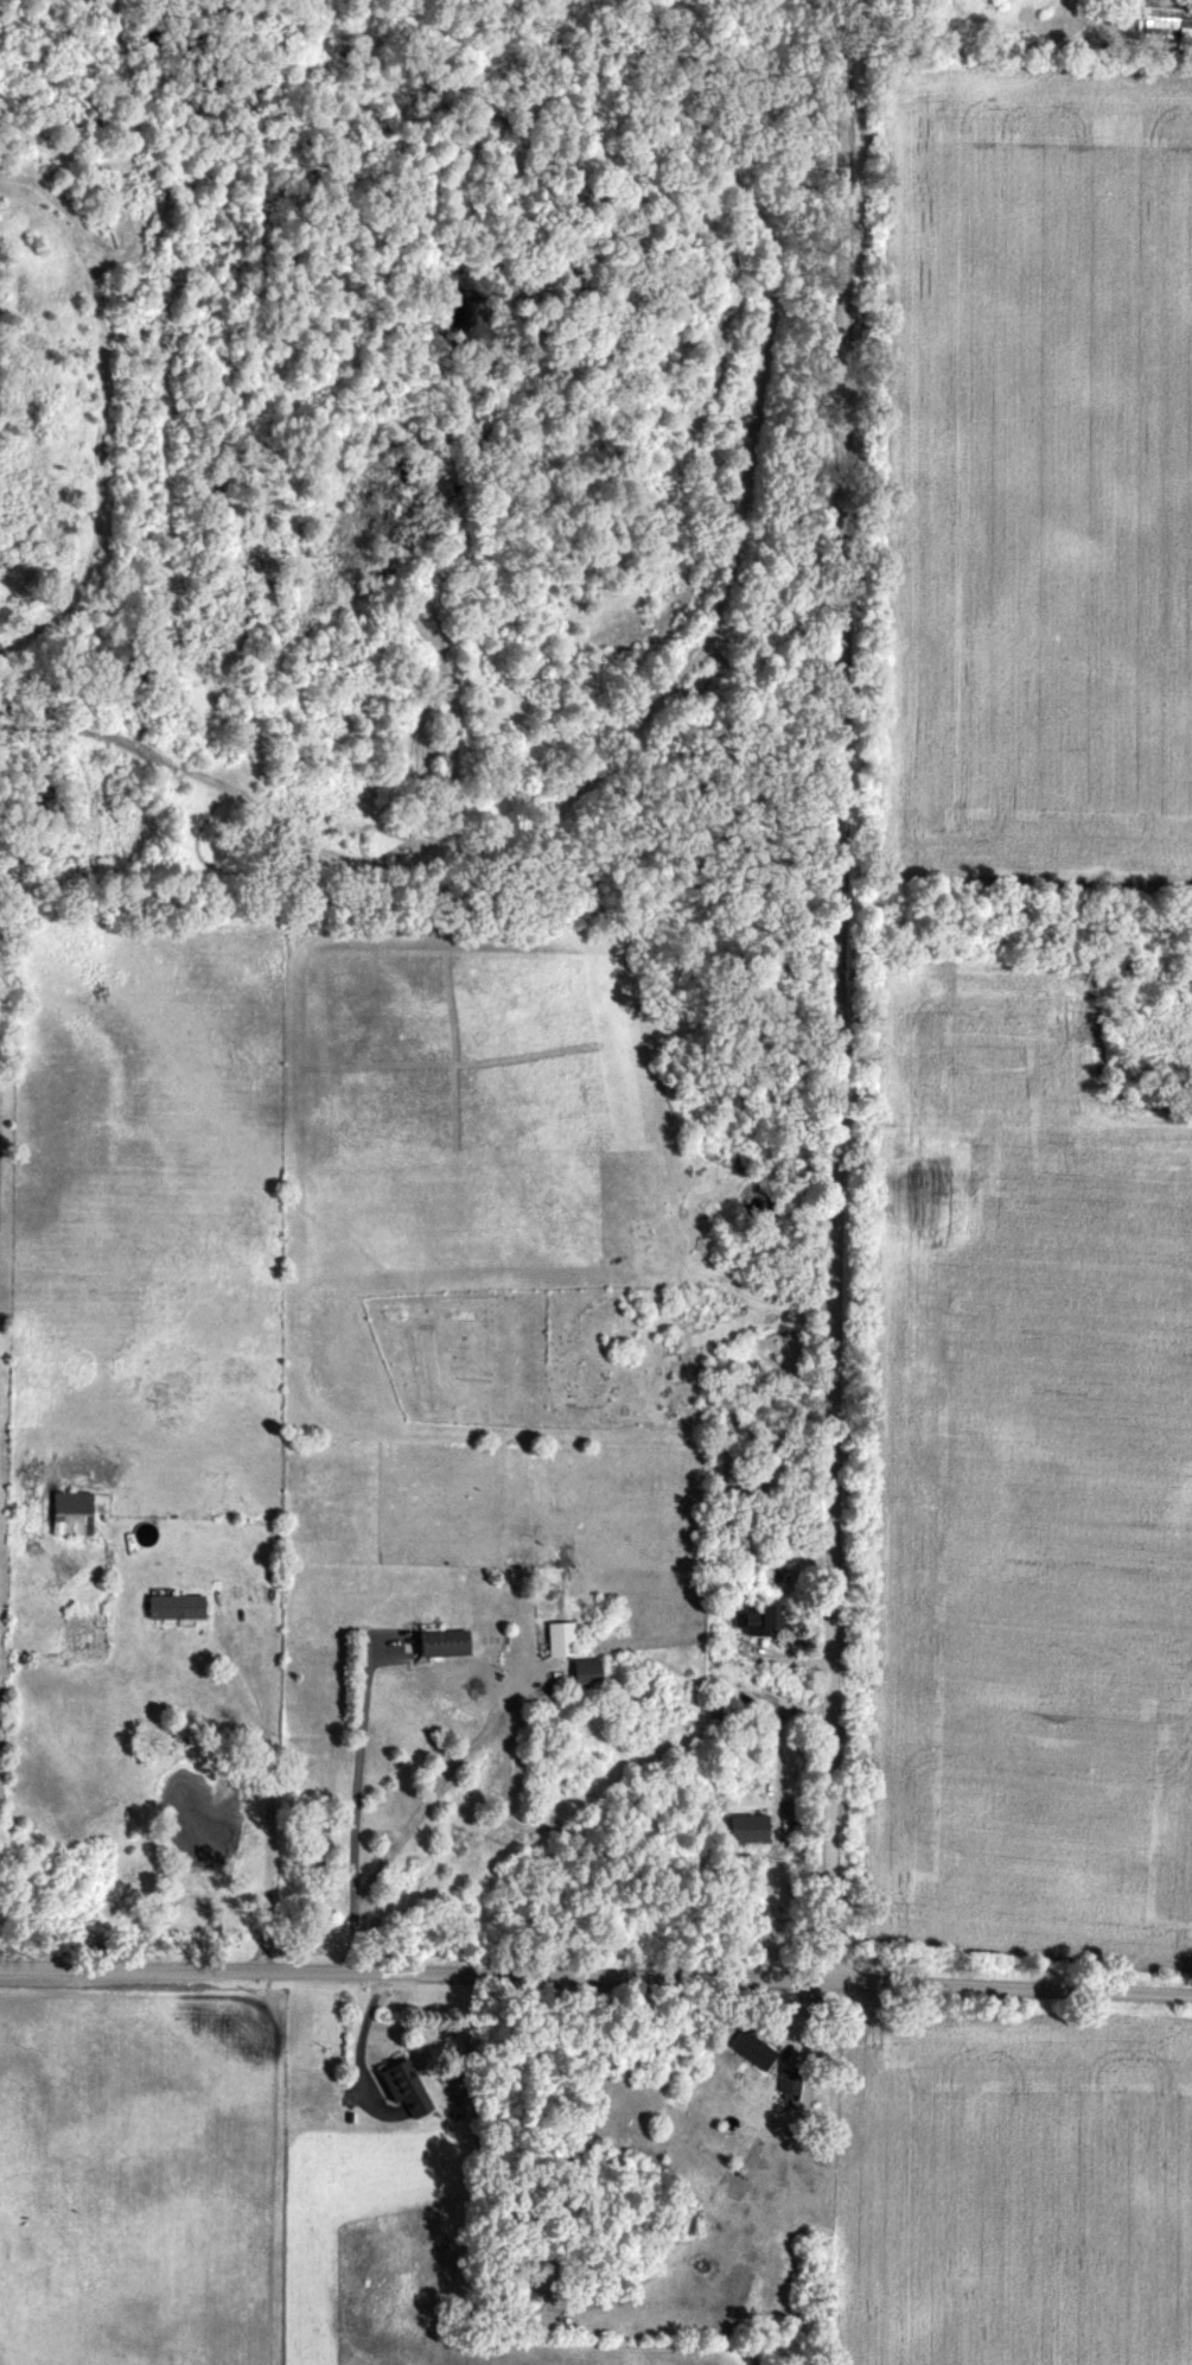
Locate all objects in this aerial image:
road: (835, 988)
building: (66, 1512)
building: (235, 1591)
building: (166, 1607)
building: (745, 1619)
building: (554, 1639)
building: (436, 1644)
building: (580, 1673)
road: (433, 1799)
road: (261, 1807)
road: (358, 1810)
building: (738, 1829)
road: (595, 1975)
road: (362, 2043)
building: (747, 2051)
building: (395, 2083)
building: (681, 2221)

